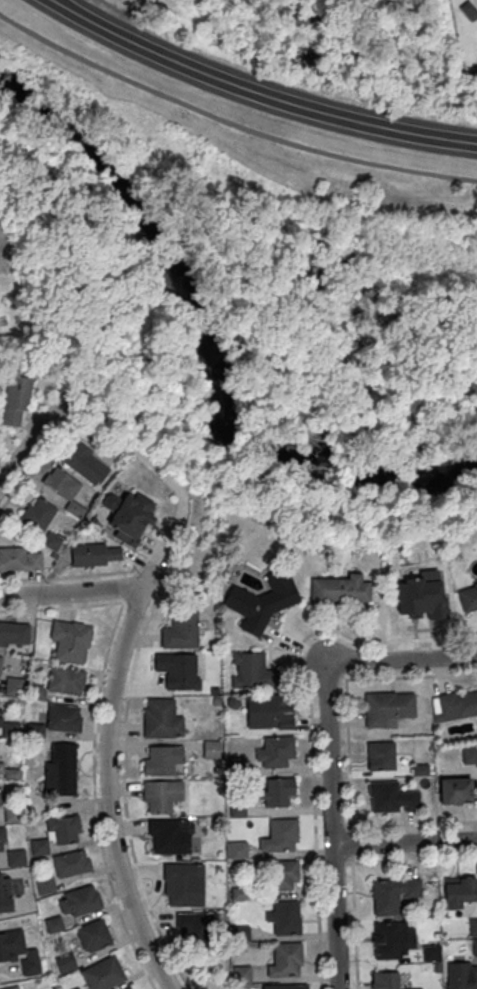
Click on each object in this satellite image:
building: (468, 10)
park: (167, 16)
road: (255, 95)
road: (230, 122)
road: (172, 176)
park: (257, 250)
road: (309, 335)
river: (193, 359)
road: (320, 360)
road: (331, 385)
building: (15, 400)
road: (70, 405)
road: (402, 426)
road: (86, 432)
road: (33, 438)
road: (115, 452)
road: (107, 454)
road: (36, 462)
building: (85, 464)
road: (167, 479)
building: (64, 488)
building: (38, 513)
building: (131, 518)
building: (51, 540)
building: (95, 554)
building: (20, 558)
road: (67, 578)
building: (338, 590)
road: (70, 592)
building: (468, 596)
road: (132, 601)
building: (262, 601)
building: (420, 603)
road: (63, 608)
building: (181, 628)
building: (14, 633)
building: (71, 641)
building: (0, 659)
road: (405, 663)
building: (179, 670)
building: (251, 670)
building: (65, 680)
building: (13, 687)
road: (345, 690)
building: (457, 704)
building: (387, 707)
building: (269, 711)
building: (63, 717)
building: (161, 719)
road: (310, 721)
building: (9, 728)
building: (36, 730)
building: (211, 749)
building: (275, 751)
building: (469, 754)
building: (380, 755)
building: (161, 759)
building: (60, 769)
road: (93, 777)
building: (456, 790)
building: (276, 791)
building: (162, 794)
road: (106, 795)
building: (391, 797)
road: (125, 798)
road: (410, 823)
road: (339, 825)
road: (335, 830)
building: (58, 833)
building: (168, 835)
building: (282, 835)
building: (2, 838)
road: (406, 843)
road: (352, 844)
building: (237, 849)
building: (16, 857)
road: (412, 858)
road: (342, 860)
building: (71, 862)
building: (284, 875)
building: (180, 883)
building: (44, 885)
building: (460, 892)
building: (5, 893)
building: (392, 894)
building: (79, 900)
building: (285, 917)
road: (354, 922)
building: (53, 924)
building: (192, 925)
building: (241, 933)
building: (93, 934)
building: (393, 941)
building: (286, 960)
building: (64, 963)
building: (241, 972)
building: (102, 973)
building: (388, 980)
building: (462, 982)
building: (290, 986)
building: (11, 987)
building: (127, 988)

